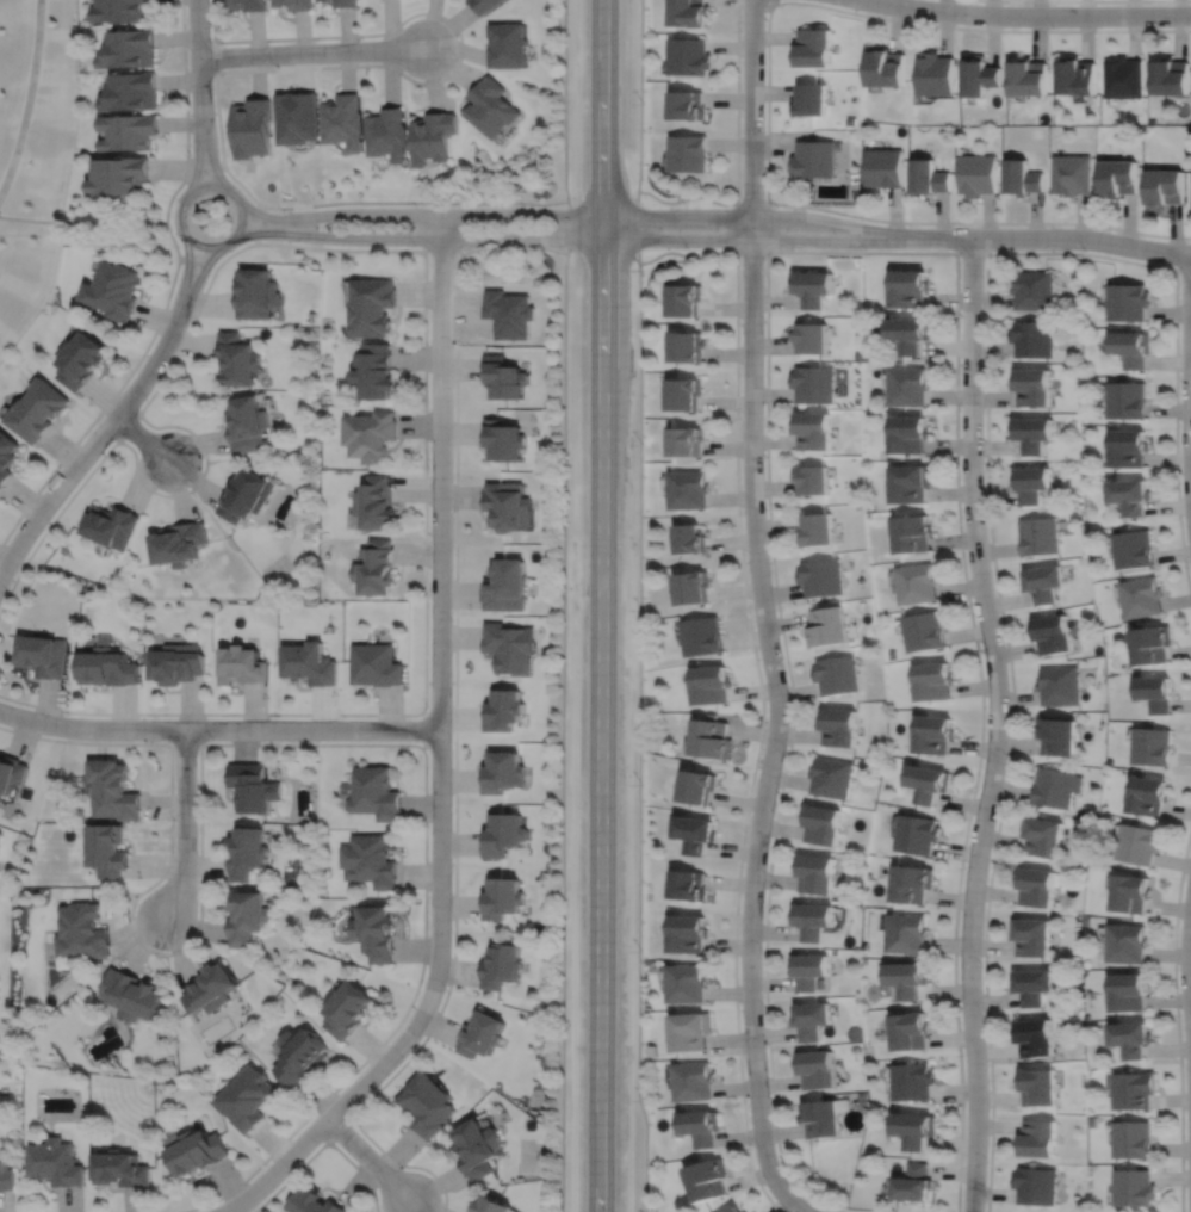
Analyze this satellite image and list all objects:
building: (321, 0)
road: (1094, 0)
road: (773, 2)
building: (293, 4)
building: (343, 4)
building: (247, 5)
building: (483, 5)
building: (122, 12)
building: (687, 13)
road: (1028, 16)
road: (881, 18)
road: (212, 36)
building: (505, 45)
building: (812, 49)
building: (129, 50)
road: (310, 52)
building: (688, 57)
road: (199, 61)
road: (258, 69)
building: (885, 69)
building: (935, 75)
building: (978, 78)
building: (1075, 78)
building: (1170, 78)
building: (1026, 79)
building: (1123, 79)
building: (131, 93)
road: (27, 99)
building: (808, 101)
building: (686, 106)
building: (489, 109)
road: (752, 110)
road: (185, 113)
building: (294, 118)
building: (341, 122)
building: (850, 122)
building: (250, 129)
building: (129, 132)
building: (386, 135)
building: (430, 137)
road: (737, 150)
building: (689, 153)
park: (37, 155)
road: (210, 156)
road: (197, 157)
building: (813, 160)
road: (204, 167)
building: (883, 169)
building: (976, 175)
building: (1071, 175)
building: (119, 178)
building: (926, 178)
building: (1022, 179)
building: (1118, 179)
building: (1165, 190)
road: (234, 197)
road: (748, 202)
road: (565, 215)
road: (82, 222)
road: (978, 222)
road: (258, 223)
road: (737, 225)
road: (1042, 237)
road: (560, 239)
road: (767, 243)
road: (443, 249)
road: (837, 251)
road: (972, 252)
road: (196, 261)
road: (1184, 268)
road: (186, 271)
road: (199, 273)
road: (424, 280)
building: (813, 285)
building: (908, 289)
building: (1034, 290)
building: (112, 292)
building: (254, 293)
building: (687, 297)
building: (1128, 299)
building: (372, 304)
building: (911, 332)
building: (813, 335)
building: (1032, 336)
building: (689, 345)
building: (1133, 346)
building: (235, 361)
building: (80, 363)
road: (1190, 367)
building: (374, 369)
building: (503, 376)
building: (814, 383)
building: (911, 383)
building: (1031, 384)
building: (686, 391)
road: (116, 394)
building: (1128, 398)
building: (38, 410)
building: (247, 422)
road: (129, 427)
building: (814, 428)
building: (908, 432)
building: (1031, 432)
building: (370, 433)
road: (142, 438)
building: (503, 438)
building: (689, 439)
road: (94, 441)
building: (1129, 446)
building: (7, 455)
road: (986, 470)
building: (813, 478)
building: (911, 482)
building: (1031, 482)
building: (690, 488)
building: (1130, 494)
building: (244, 495)
building: (376, 501)
building: (507, 503)
building: (111, 525)
building: (818, 528)
building: (912, 532)
building: (1038, 534)
building: (693, 537)
building: (178, 543)
building: (1134, 548)
building: (376, 567)
building: (823, 576)
building: (917, 582)
building: (1043, 582)
building: (505, 586)
building: (694, 587)
building: (1142, 596)
road: (563, 605)
road: (601, 606)
road: (638, 606)
building: (829, 626)
building: (923, 631)
building: (1053, 633)
building: (703, 636)
building: (1153, 644)
building: (509, 647)
building: (44, 655)
building: (176, 663)
building: (309, 663)
building: (376, 663)
building: (107, 666)
building: (242, 666)
building: (837, 674)
building: (932, 681)
road: (440, 685)
building: (713, 685)
building: (1059, 685)
road: (759, 687)
building: (1156, 693)
building: (502, 710)
road: (454, 717)
road: (777, 721)
road: (995, 724)
building: (838, 726)
road: (218, 728)
road: (424, 728)
building: (932, 735)
building: (1056, 736)
building: (713, 737)
road: (185, 743)
road: (277, 743)
building: (1152, 747)
building: (502, 772)
building: (11, 773)
building: (831, 778)
building: (928, 784)
building: (254, 786)
building: (700, 787)
building: (1055, 787)
building: (113, 789)
building: (374, 793)
building: (1149, 797)
road: (184, 824)
building: (821, 825)
building: (0, 830)
building: (502, 834)
building: (696, 834)
building: (916, 834)
building: (1041, 836)
building: (1139, 845)
building: (105, 846)
building: (247, 848)
building: (368, 859)
building: (818, 876)
building: (911, 884)
building: (689, 886)
building: (1035, 888)
building: (1131, 895)
building: (502, 896)
building: (247, 913)
building: (813, 920)
building: (81, 928)
building: (377, 928)
building: (689, 932)
building: (906, 934)
building: (1030, 938)
building: (1127, 944)
road: (1190, 953)
building: (498, 960)
building: (809, 966)
building: (907, 978)
building: (688, 979)
building: (211, 984)
building: (1031, 985)
building: (131, 991)
building: (1128, 991)
building: (347, 1004)
building: (812, 1015)
road: (1177, 1016)
building: (691, 1027)
building: (910, 1027)
building: (480, 1029)
building: (1034, 1034)
building: (1131, 1035)
building: (652, 1047)
building: (300, 1051)
building: (818, 1065)
building: (694, 1077)
building: (912, 1078)
building: (1037, 1083)
building: (1134, 1087)
building: (248, 1095)
building: (427, 1101)
building: (823, 1115)
building: (702, 1123)
building: (913, 1126)
building: (1036, 1136)
building: (1134, 1137)
building: (477, 1144)
building: (197, 1148)
road: (368, 1158)
building: (55, 1160)
road: (403, 1163)
building: (120, 1167)
road: (277, 1167)
road: (359, 1170)
building: (6, 1173)
building: (708, 1176)
building: (912, 1180)
building: (1035, 1183)
building: (1134, 1186)
building: (316, 1201)
building: (491, 1204)
building: (736, 1208)
road: (801, 1211)

